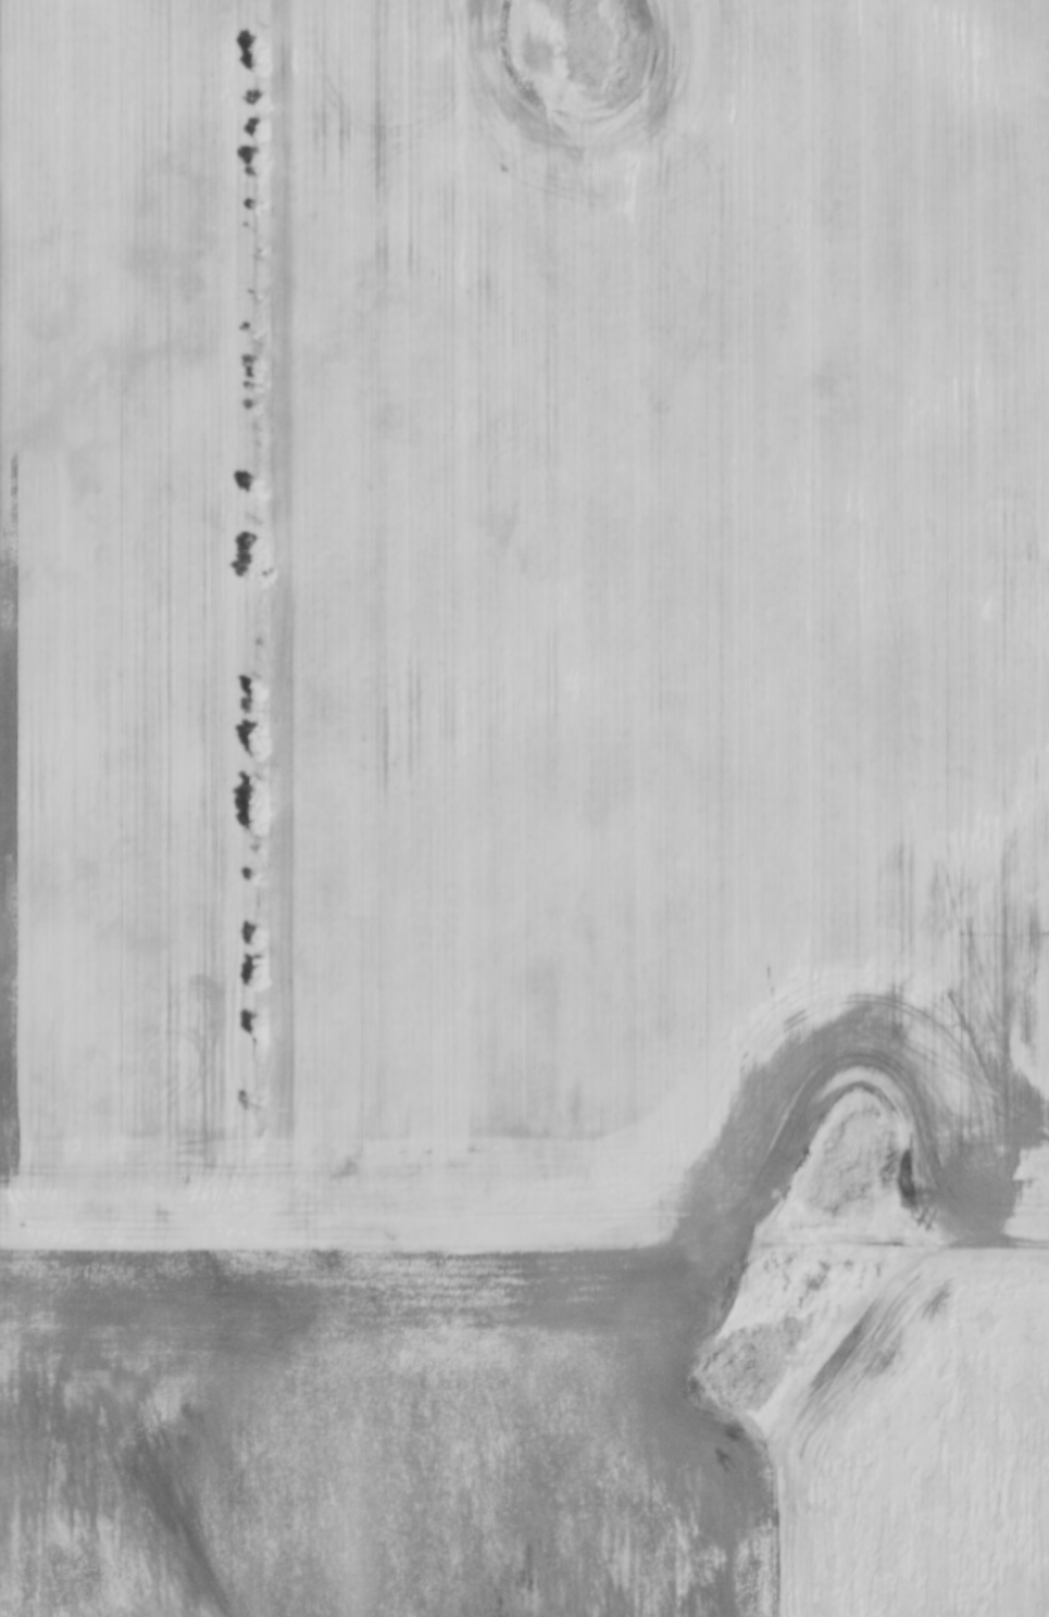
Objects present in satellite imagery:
road: (817, 1237)

